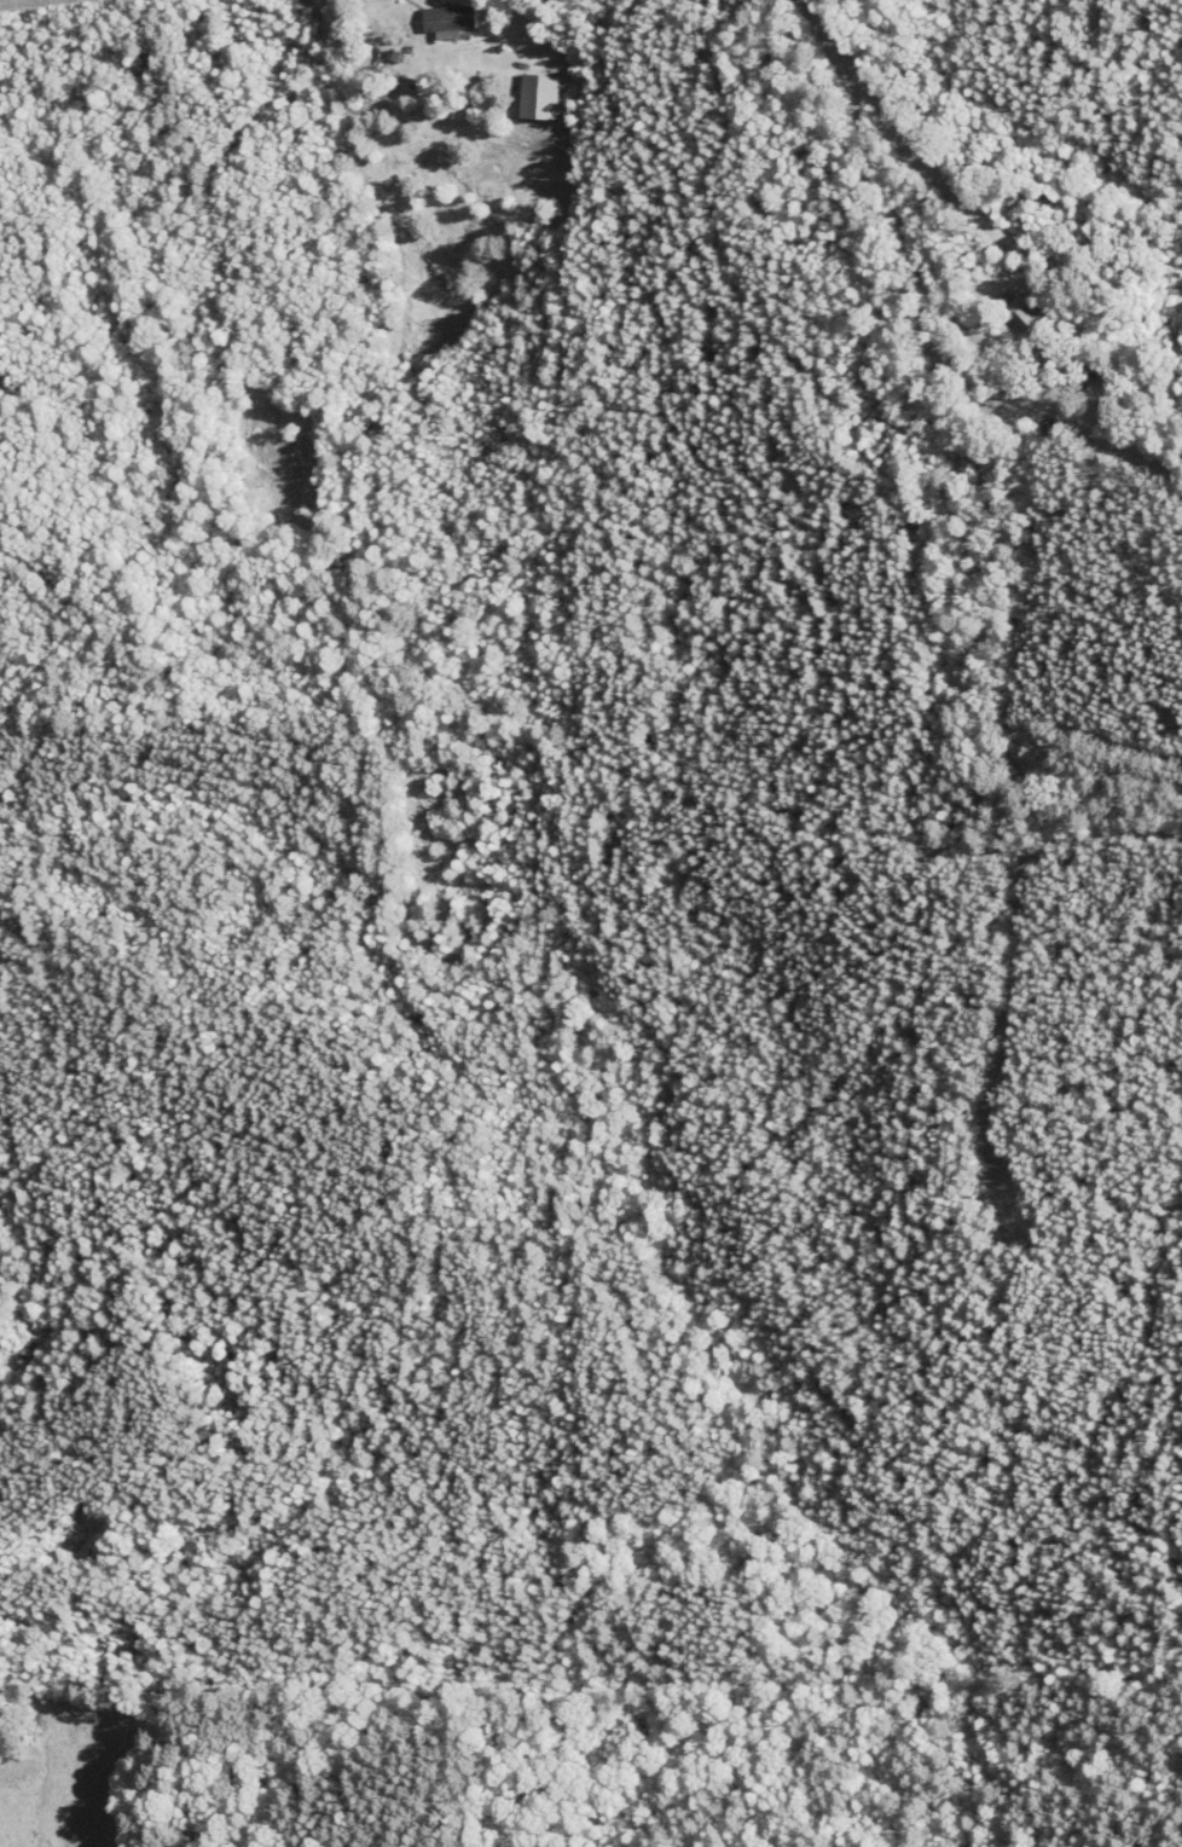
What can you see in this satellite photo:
building: (451, 17)
road: (859, 116)
building: (1021, 313)

